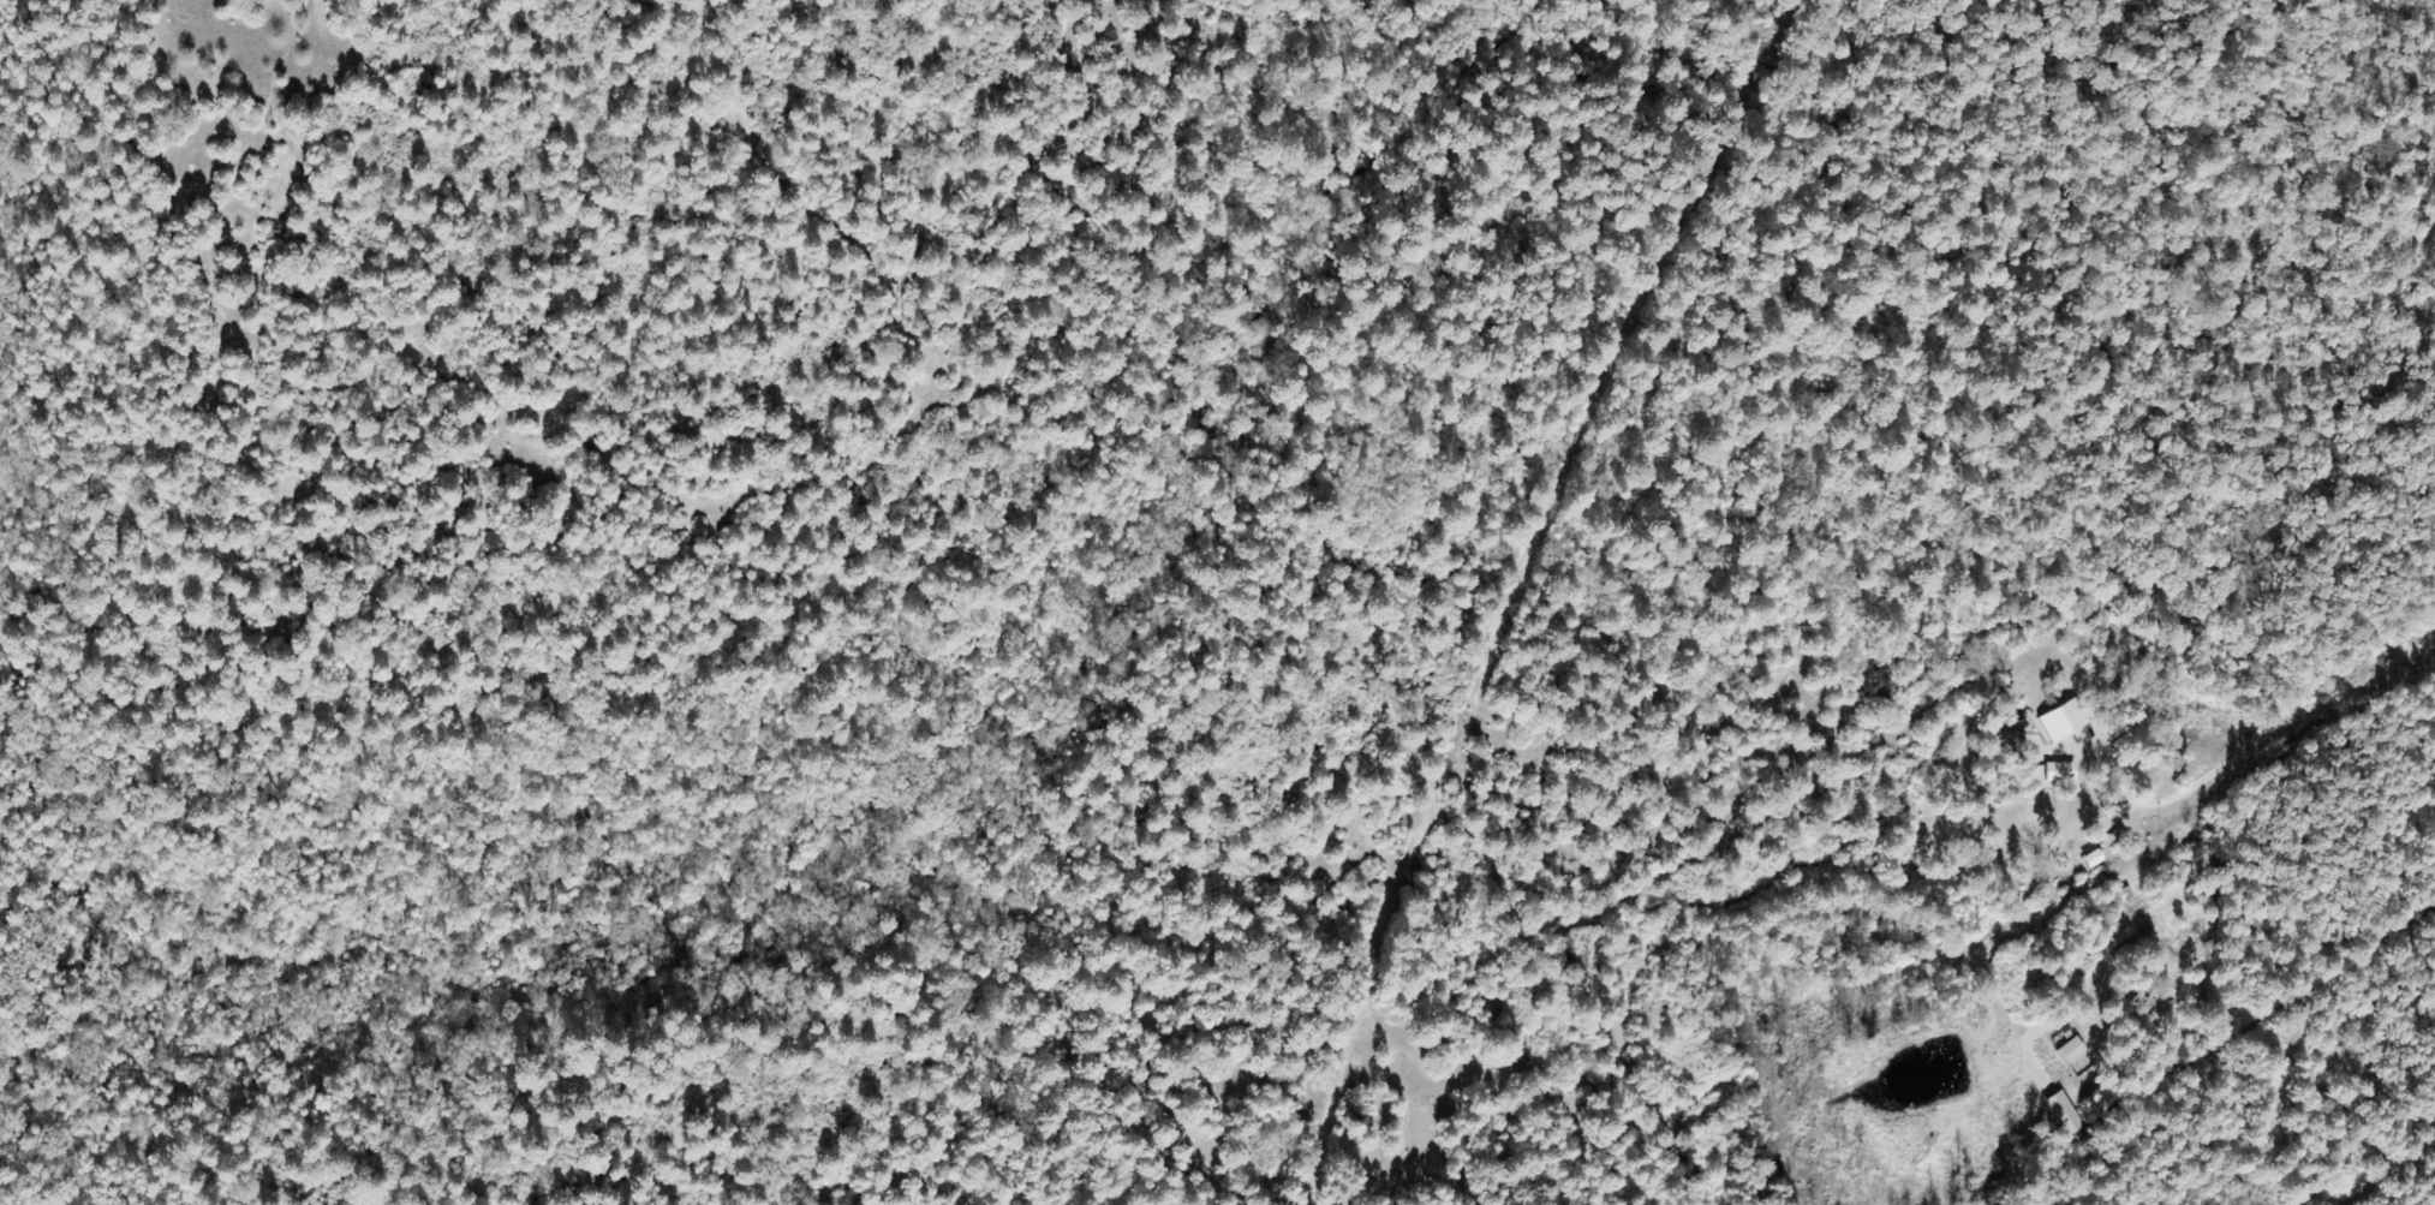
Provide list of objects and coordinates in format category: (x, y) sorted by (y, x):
building: (2065, 721)
building: (2061, 771)
building: (2094, 859)
road: (1938, 915)
building: (2071, 1051)
building: (2064, 1114)

